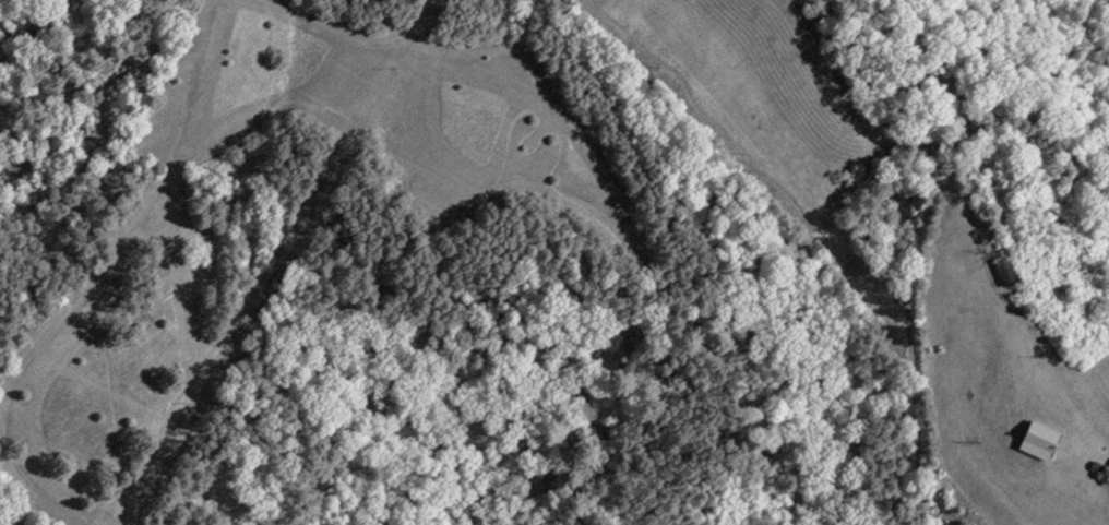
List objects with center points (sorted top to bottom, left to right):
building: (1005, 269)
building: (1040, 438)

